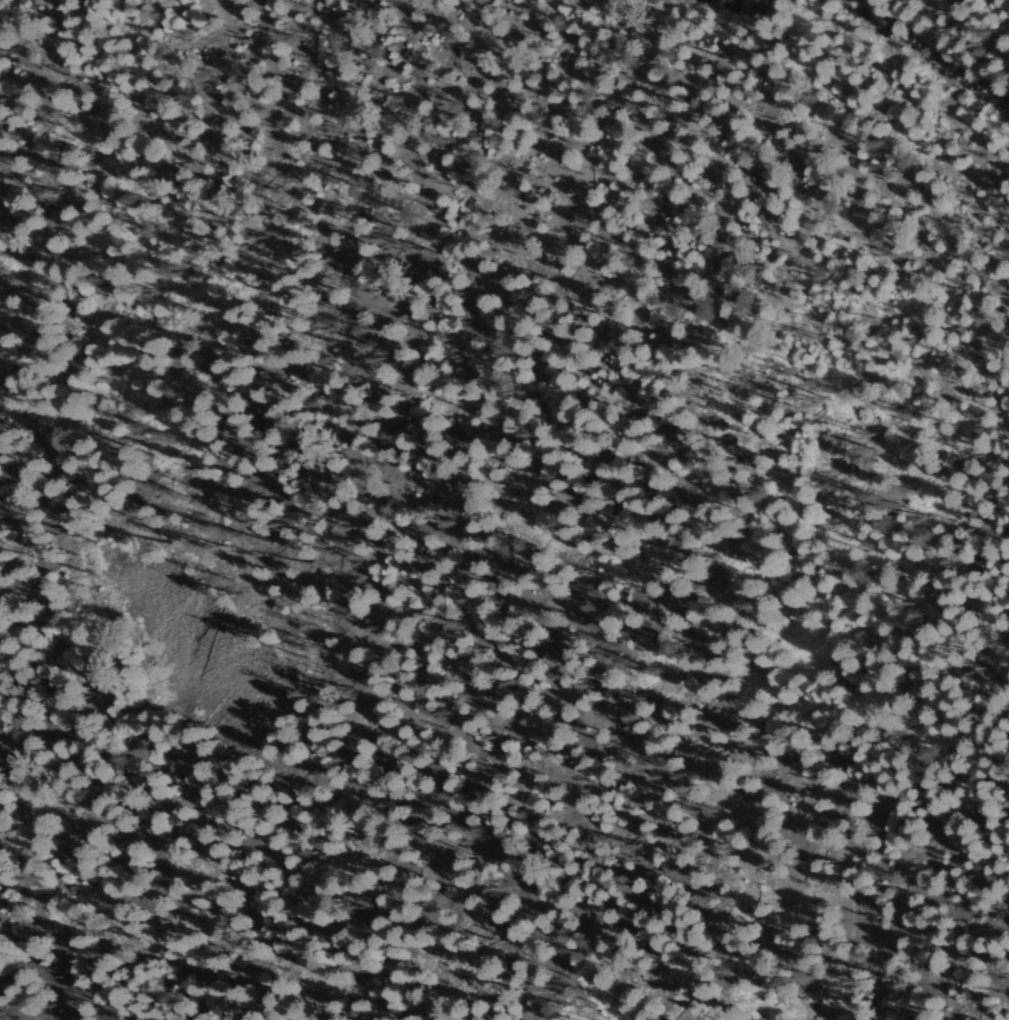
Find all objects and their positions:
river: (926, 59)

